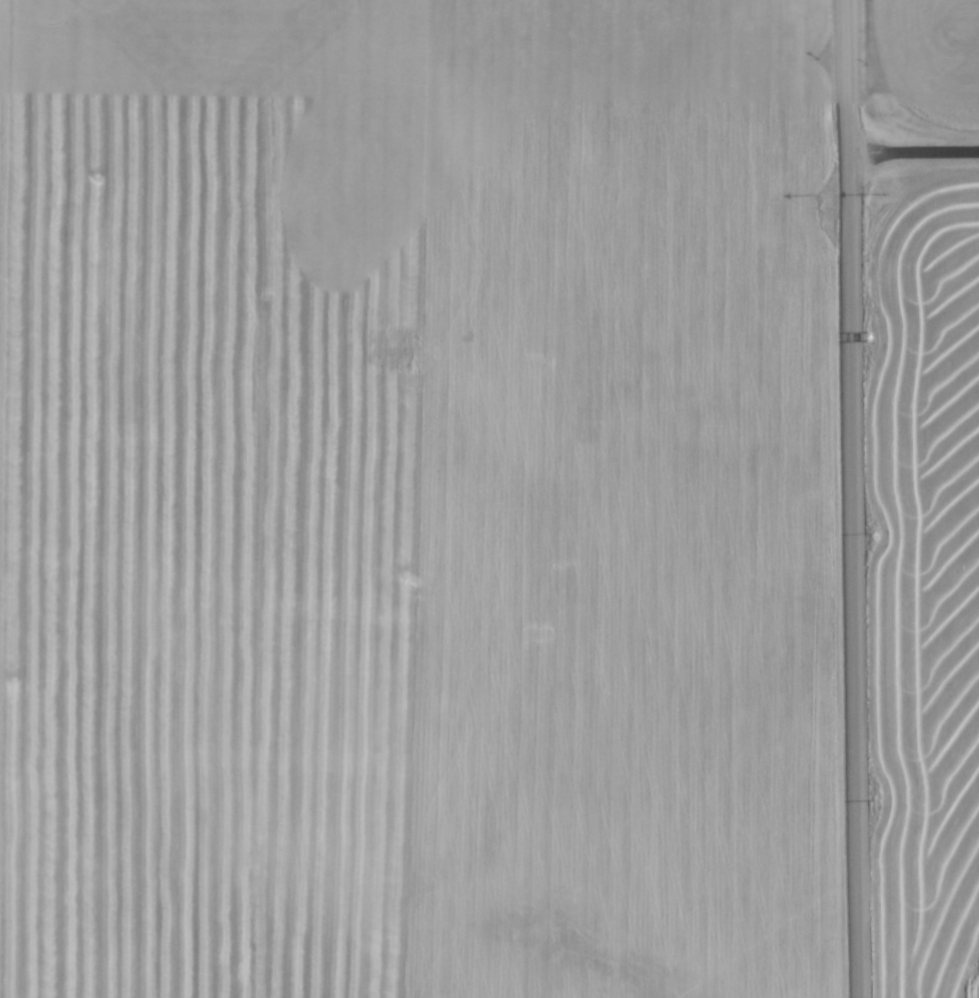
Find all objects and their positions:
road: (915, 149)
road: (856, 498)

